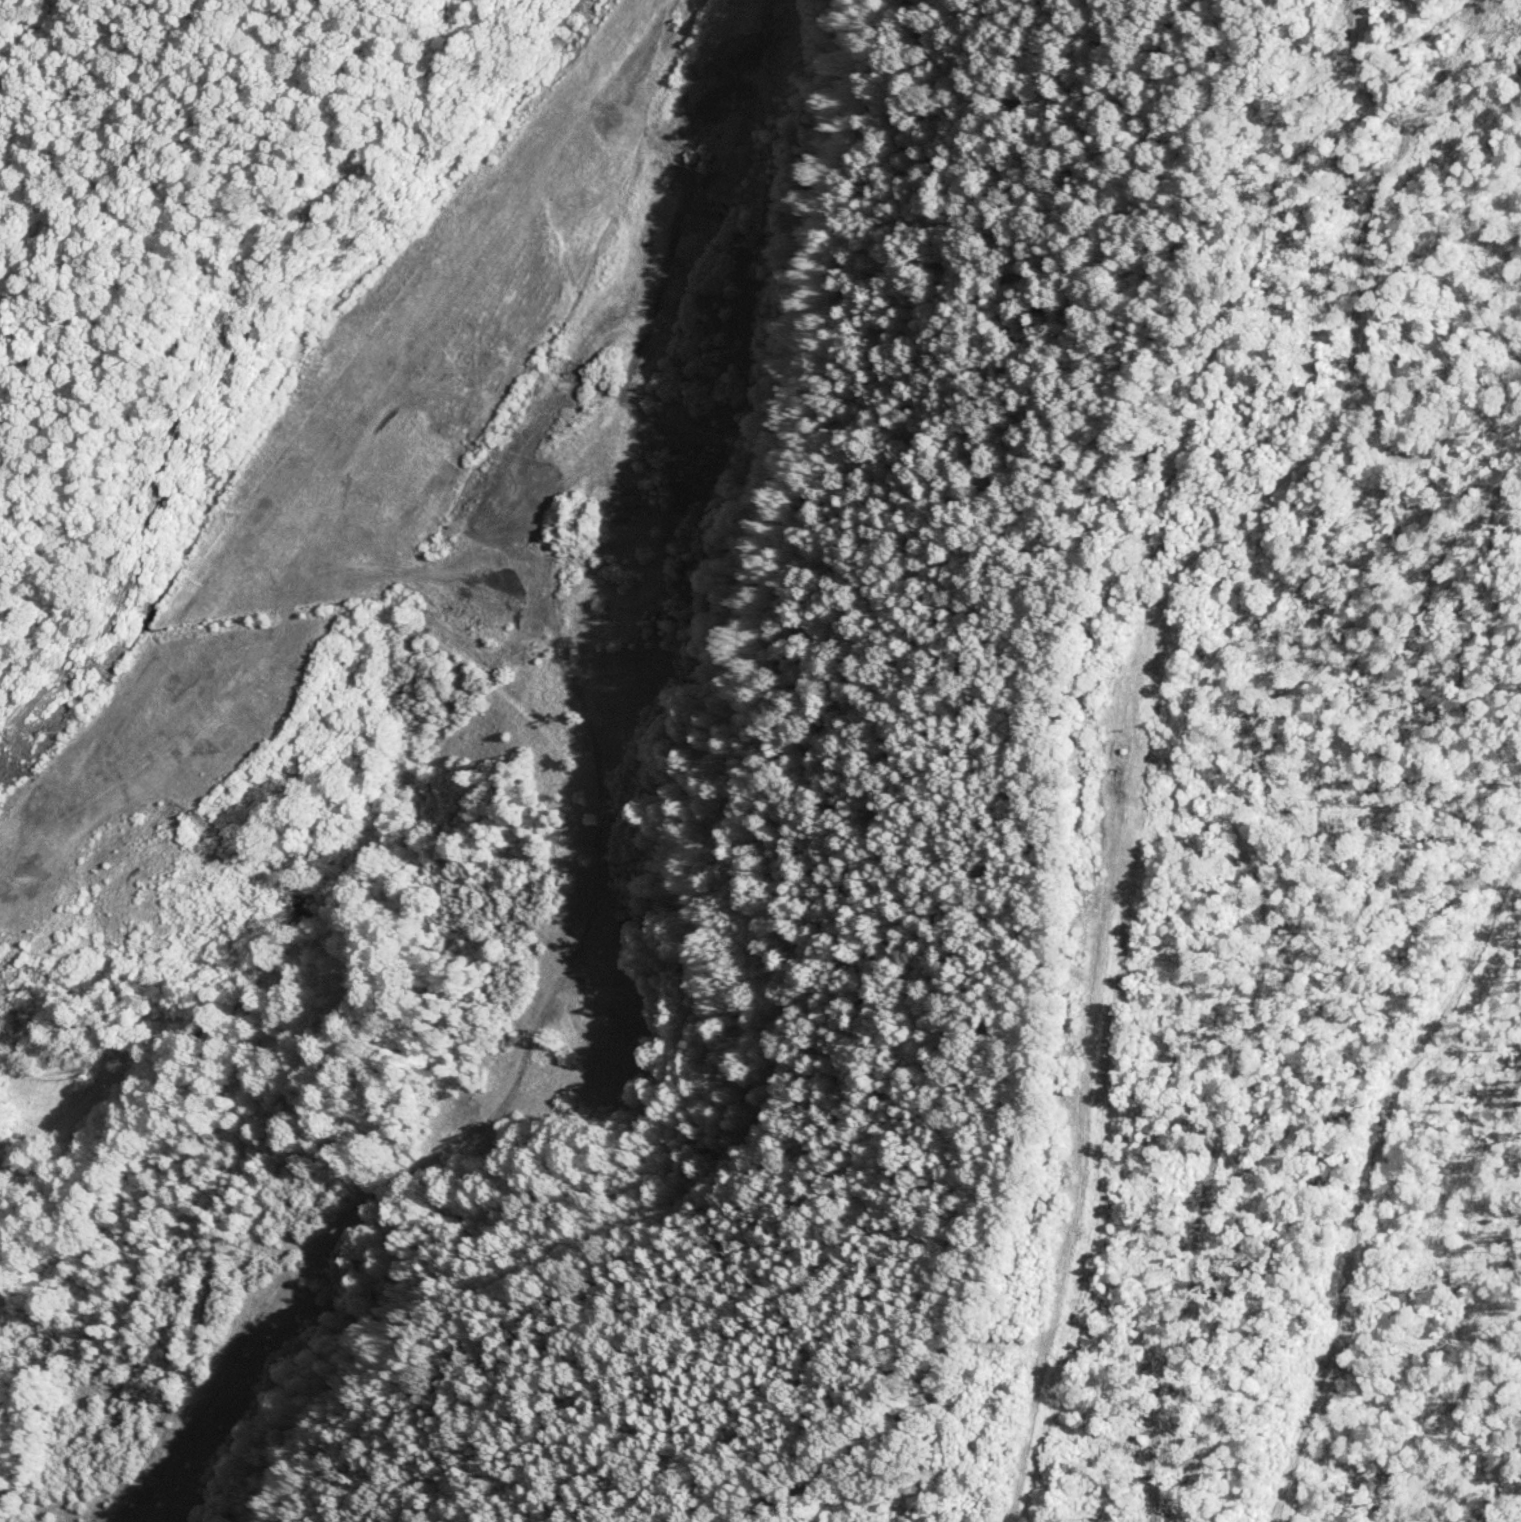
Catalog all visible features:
road: (253, 1314)

